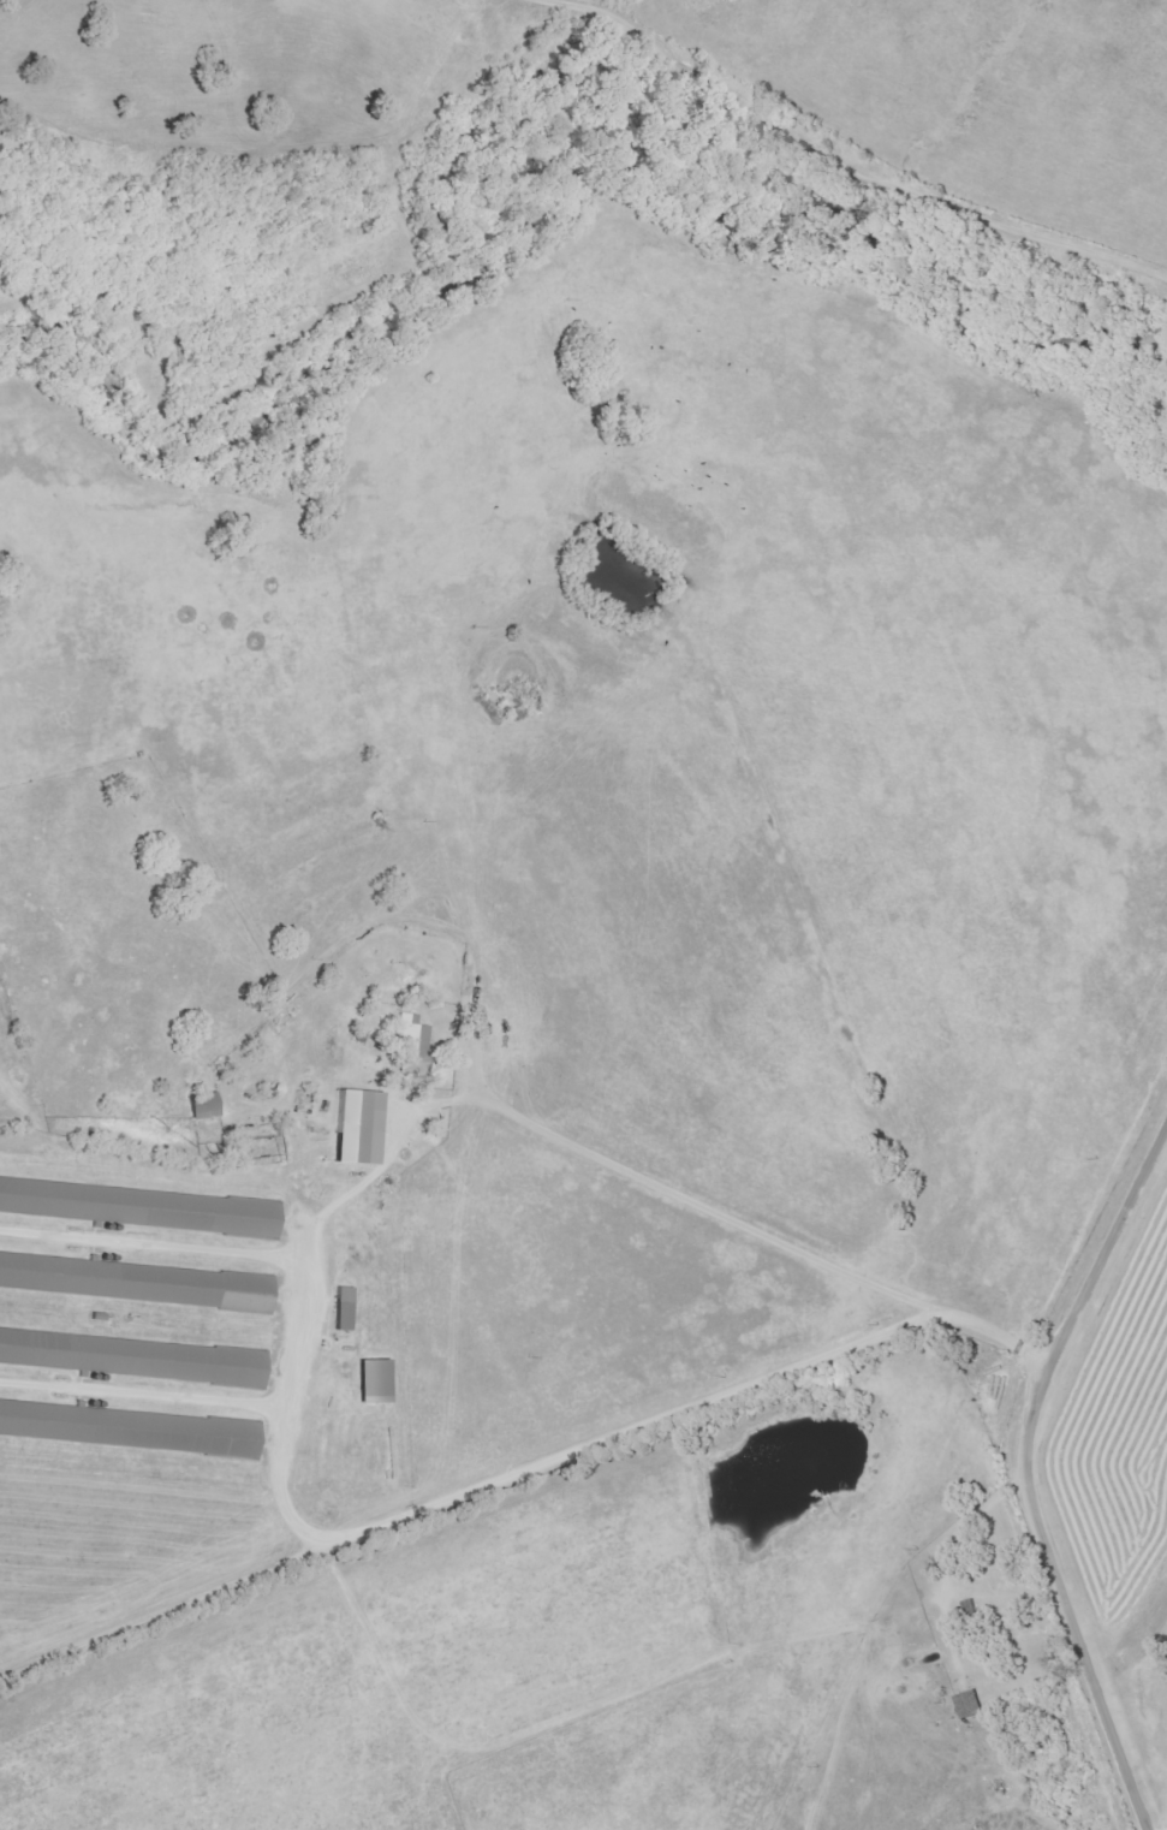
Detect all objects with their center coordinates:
building: (413, 1042)
building: (206, 1104)
building: (359, 1127)
building: (139, 1206)
building: (136, 1281)
road: (308, 1297)
building: (345, 1308)
building: (136, 1356)
building: (376, 1380)
building: (130, 1427)
road: (1018, 1483)

